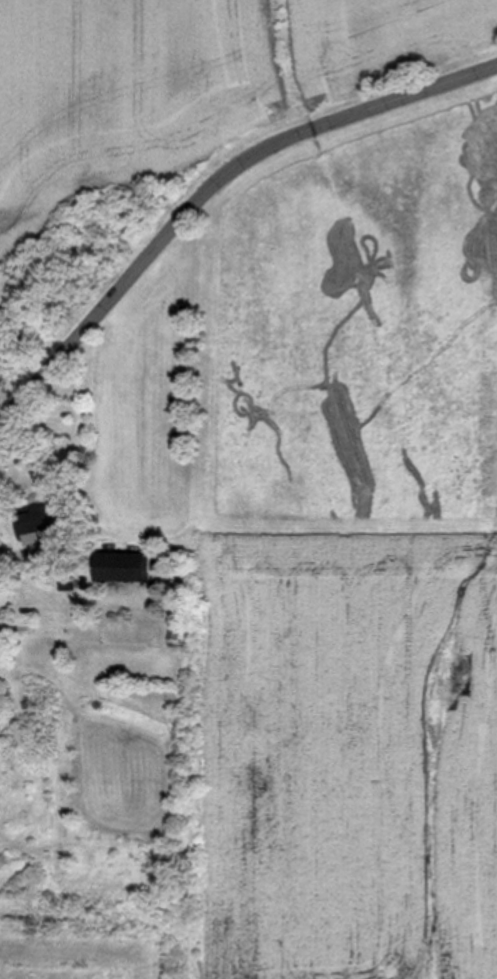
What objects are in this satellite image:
road: (210, 190)
building: (40, 518)
road: (11, 558)
building: (120, 567)

